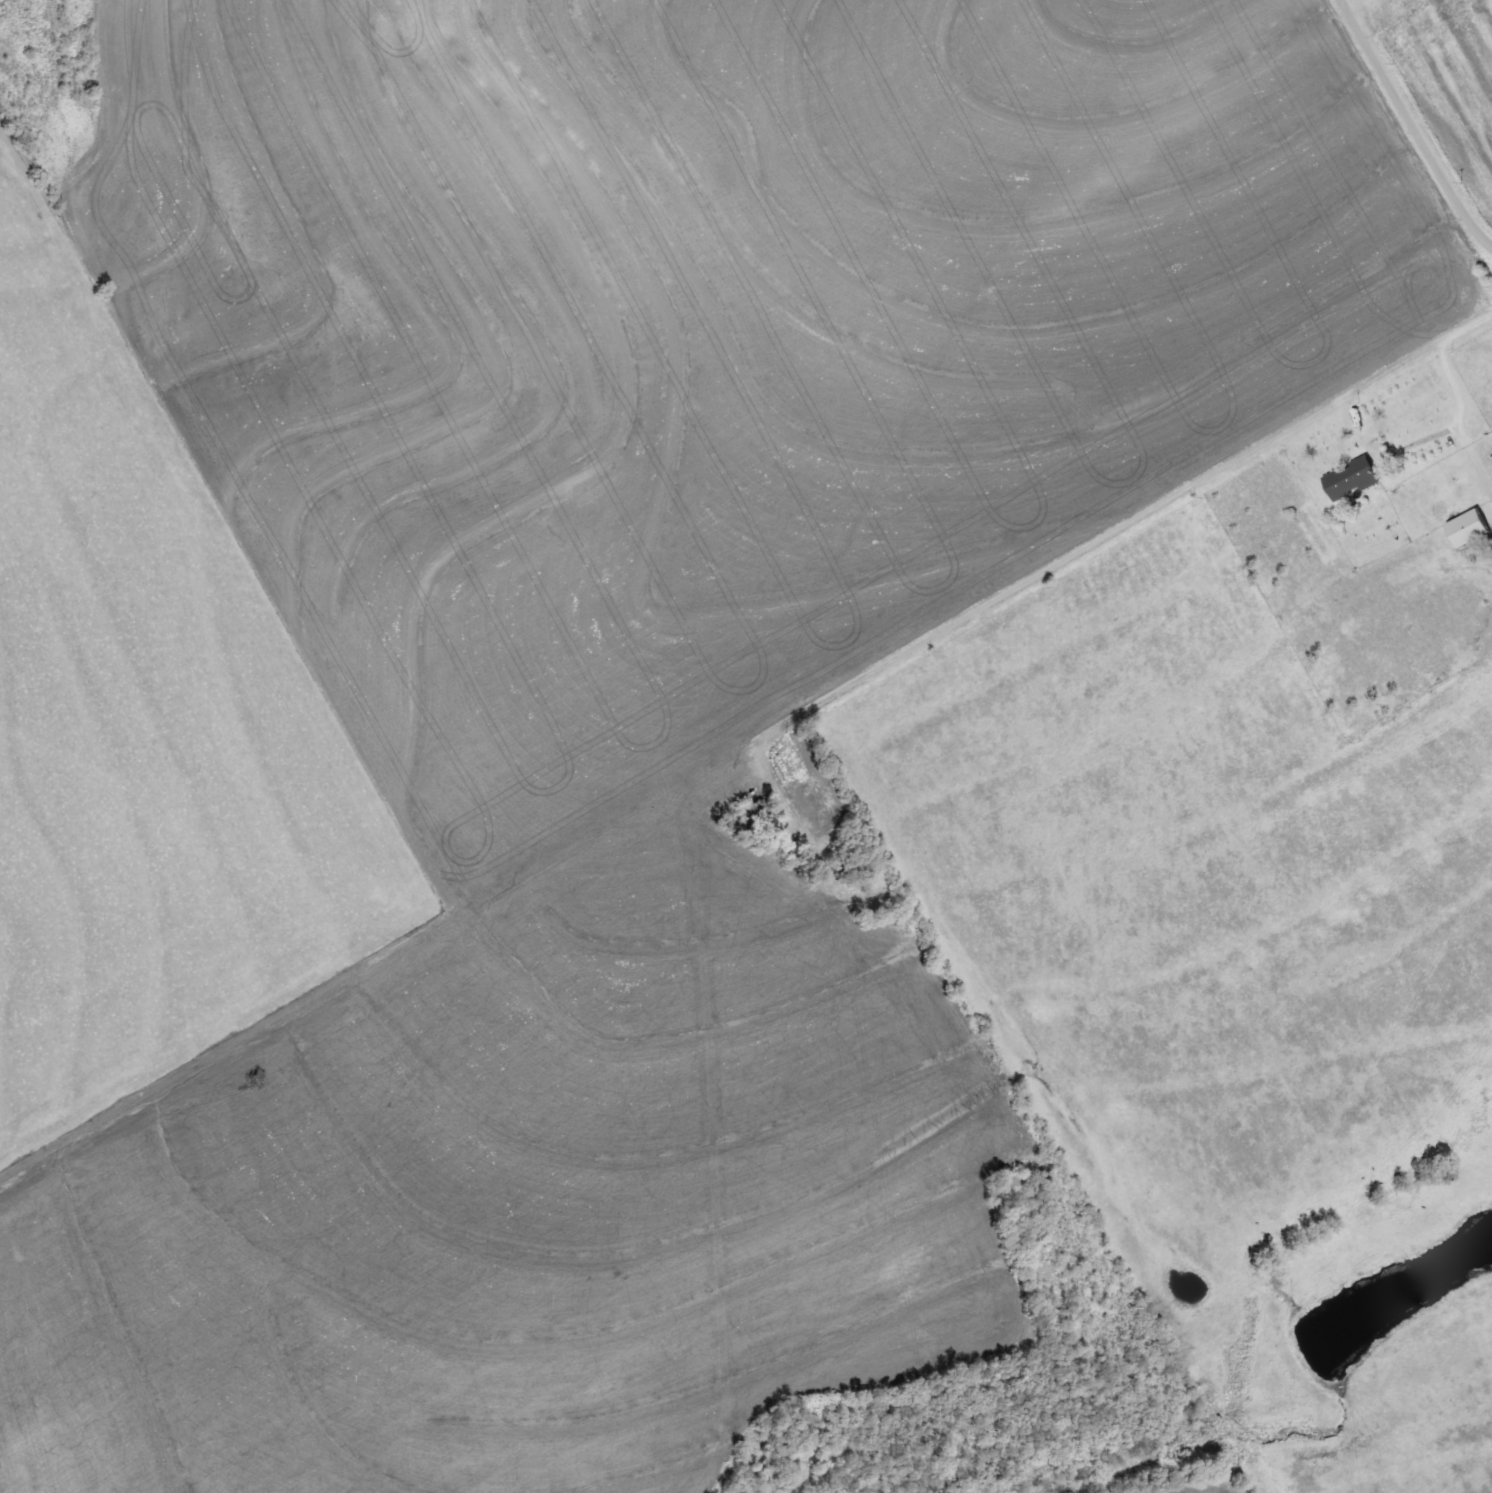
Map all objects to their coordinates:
road: (1414, 123)
building: (1352, 478)
building: (1468, 527)
road: (873, 633)
building: (759, 814)

